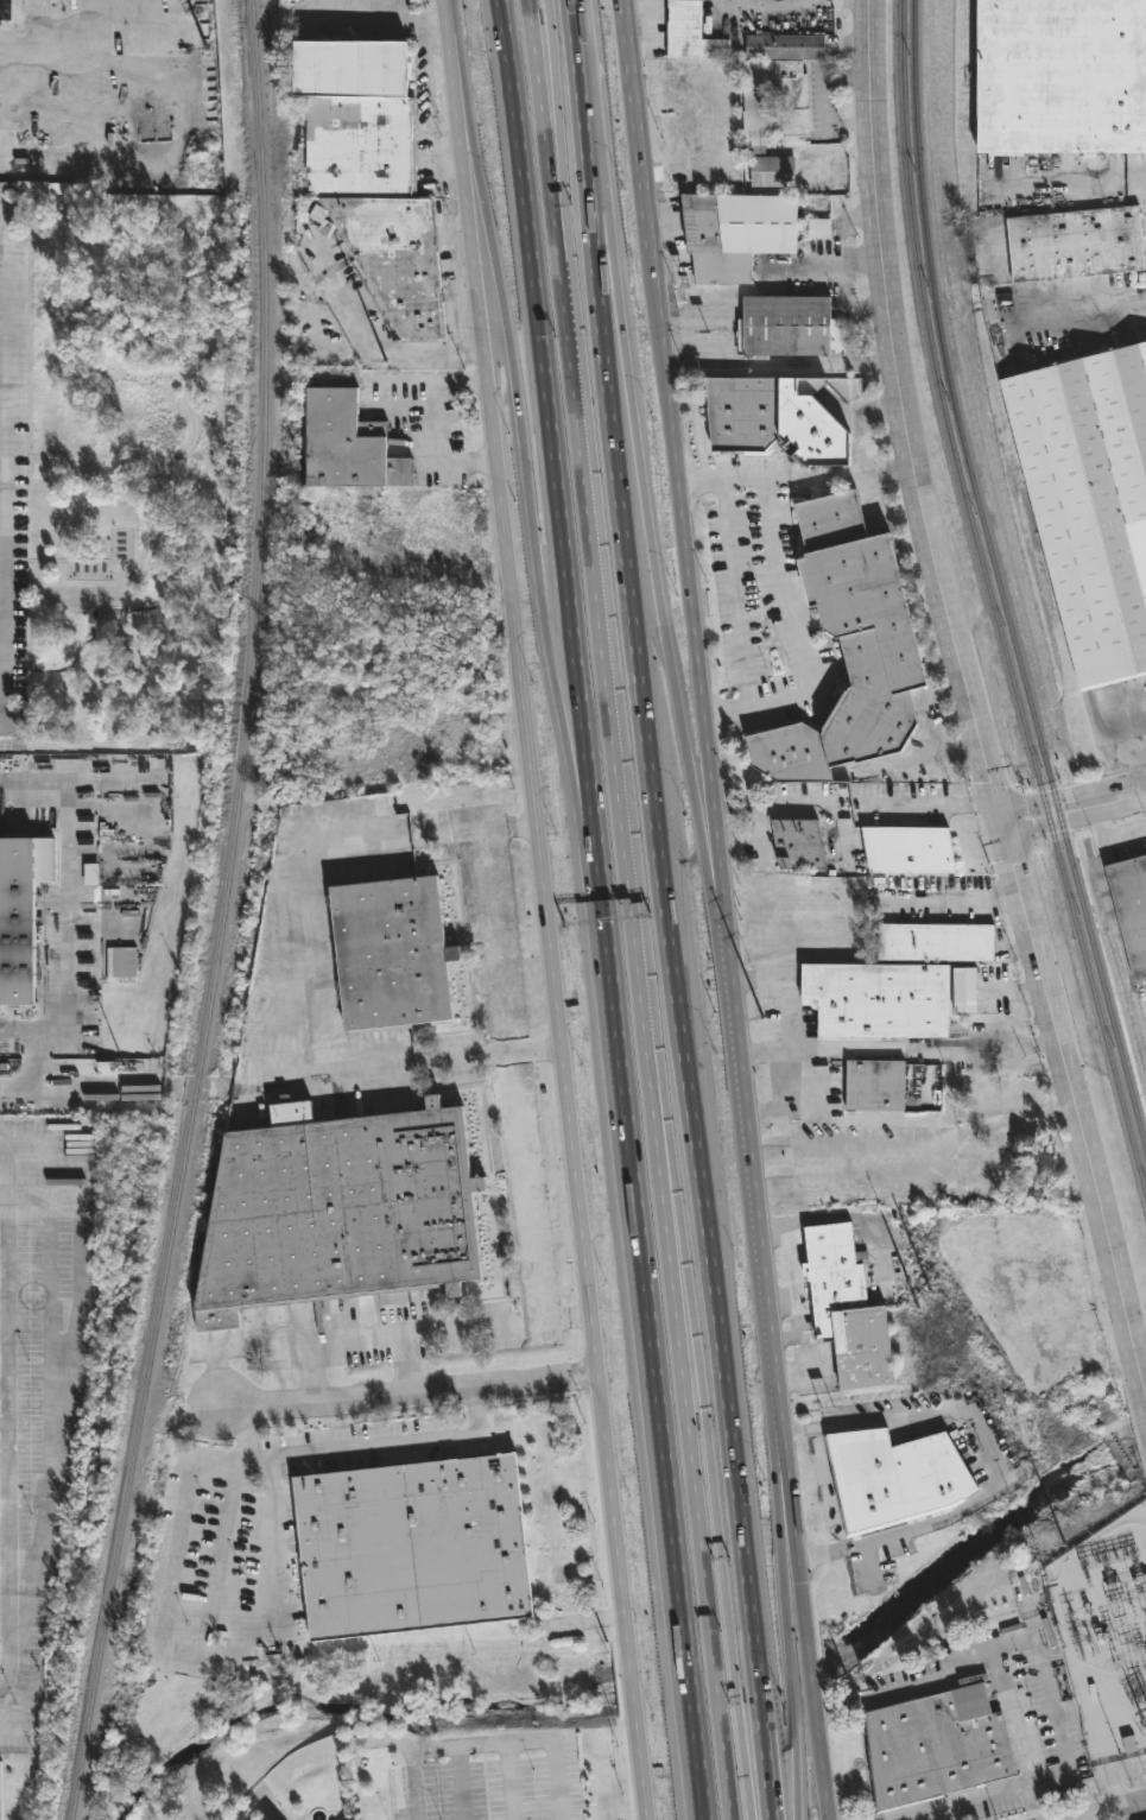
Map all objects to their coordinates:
road: (375, 23)
building: (690, 33)
building: (784, 46)
road: (552, 77)
building: (1062, 77)
road: (113, 90)
building: (774, 103)
building: (354, 118)
road: (543, 132)
building: (771, 171)
road: (1140, 175)
building: (7, 190)
road: (558, 209)
building: (819, 230)
building: (734, 232)
building: (1074, 241)
building: (393, 260)
road: (756, 268)
road: (850, 309)
road: (538, 320)
road: (1083, 320)
building: (789, 327)
road: (371, 345)
road: (793, 361)
road: (378, 380)
road: (691, 393)
building: (772, 418)
road: (859, 423)
road: (432, 424)
road: (521, 440)
building: (344, 447)
road: (4, 455)
road: (794, 480)
building: (1090, 500)
power tower: (464, 501)
road: (650, 551)
railway: (996, 577)
road: (735, 594)
railway: (990, 602)
road: (802, 644)
building: (849, 647)
road: (607, 702)
road: (973, 708)
road: (936, 756)
road: (937, 805)
road: (1074, 807)
traffic signals: (1001, 823)
road: (1104, 841)
building: (798, 843)
building: (908, 849)
road: (960, 904)
building: (1131, 909)
road: (546, 910)
road: (663, 910)
road: (723, 910)
railway: (222, 915)
road: (62, 923)
building: (17, 924)
building: (935, 942)
building: (394, 958)
road: (751, 977)
building: (964, 988)
road: (285, 991)
road: (1013, 992)
building: (876, 999)
road: (781, 1012)
power tower: (768, 1032)
road: (764, 1054)
road: (922, 1054)
building: (873, 1087)
road: (790, 1104)
road: (937, 1139)
road: (799, 1157)
road: (517, 1186)
building: (343, 1214)
road: (639, 1230)
power tower: (916, 1291)
building: (846, 1310)
road: (435, 1332)
road: (413, 1397)
road: (6, 1422)
road: (993, 1462)
building: (893, 1477)
road: (709, 1479)
road: (692, 1480)
power tower: (1057, 1537)
building: (414, 1549)
road: (261, 1624)
power substation: (1104, 1636)
road: (1033, 1638)
road: (789, 1681)
road: (906, 1688)
road: (486, 1743)
building: (935, 1748)
road: (462, 1783)
road: (950, 1801)
road: (1030, 1801)
building: (580, 1809)
road: (1110, 1810)

